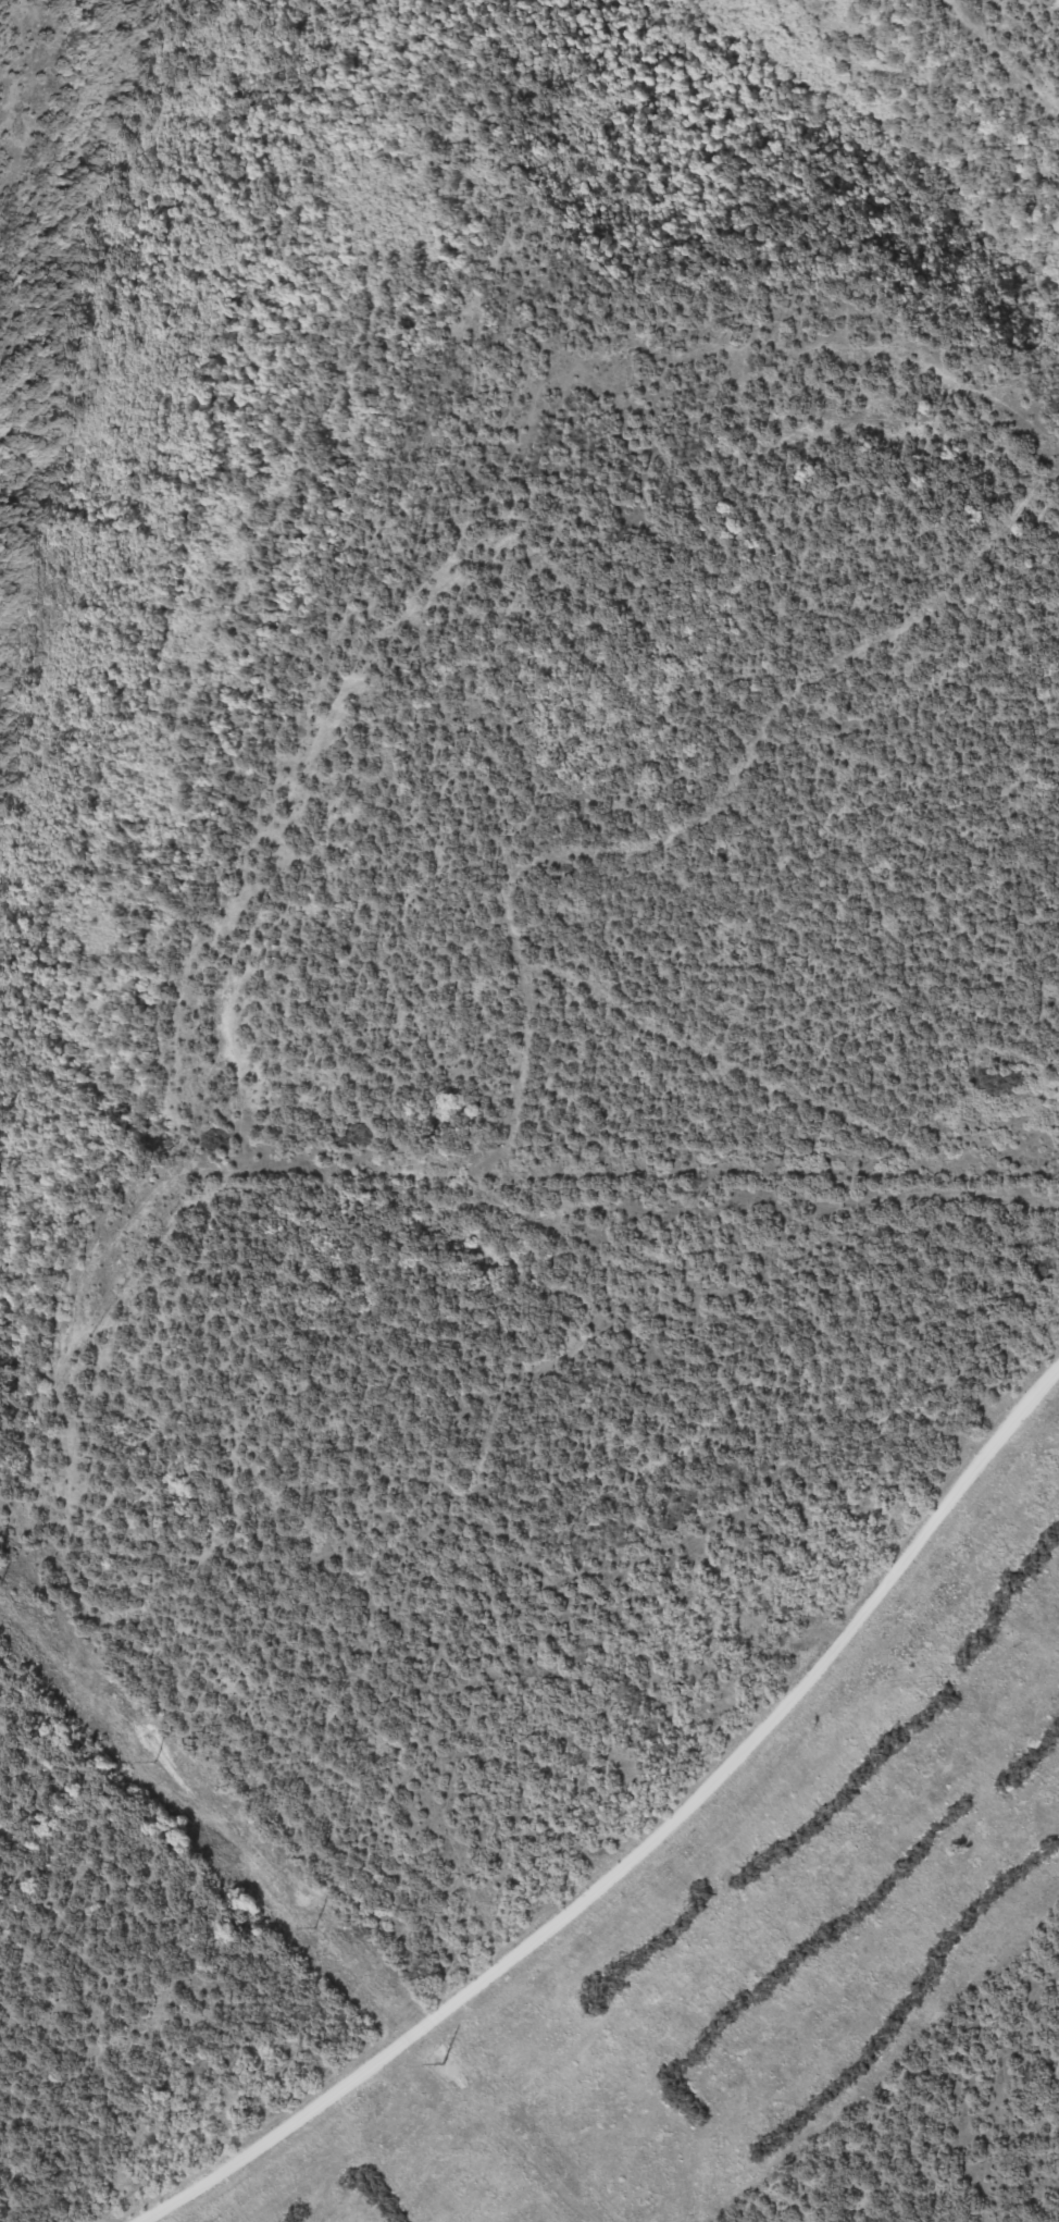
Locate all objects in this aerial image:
power tower: (152, 1760)
power tower: (312, 1923)
power tower: (441, 2061)

